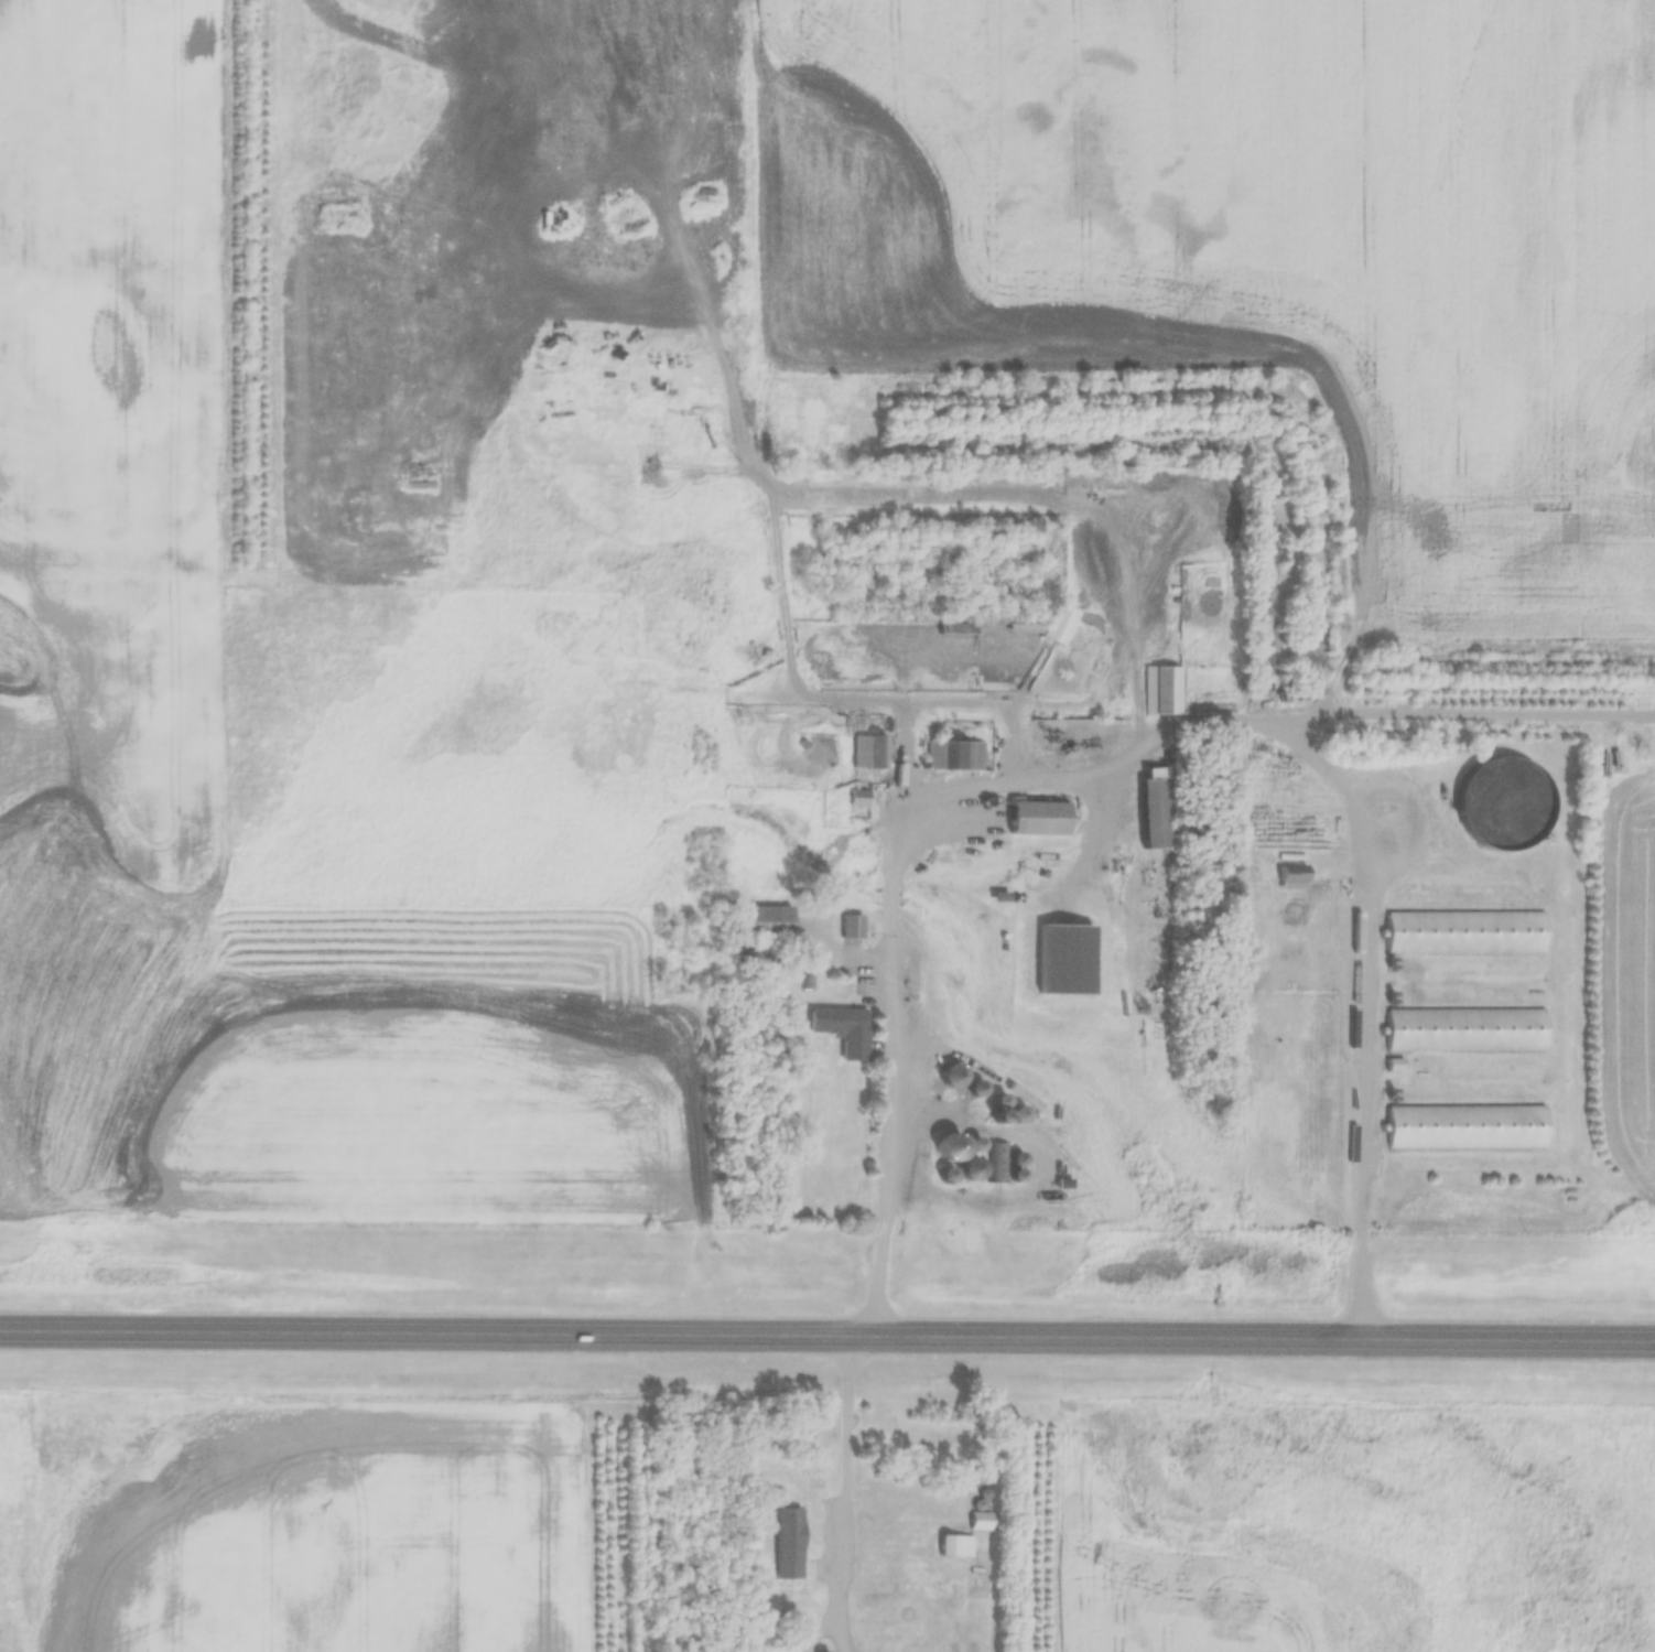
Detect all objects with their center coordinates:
building: (704, 195)
building: (421, 486)
building: (1161, 691)
building: (867, 752)
building: (955, 757)
building: (858, 798)
building: (1502, 806)
building: (1154, 814)
building: (1035, 820)
road: (1357, 839)
building: (1292, 877)
building: (761, 922)
building: (850, 927)
building: (1465, 933)
building: (841, 1030)
building: (1465, 1030)
road: (893, 1072)
building: (951, 1078)
building: (1465, 1129)
building: (1004, 1163)
building: (969, 1171)
road: (827, 1334)
road: (842, 1472)
building: (789, 1543)
building: (955, 1546)

